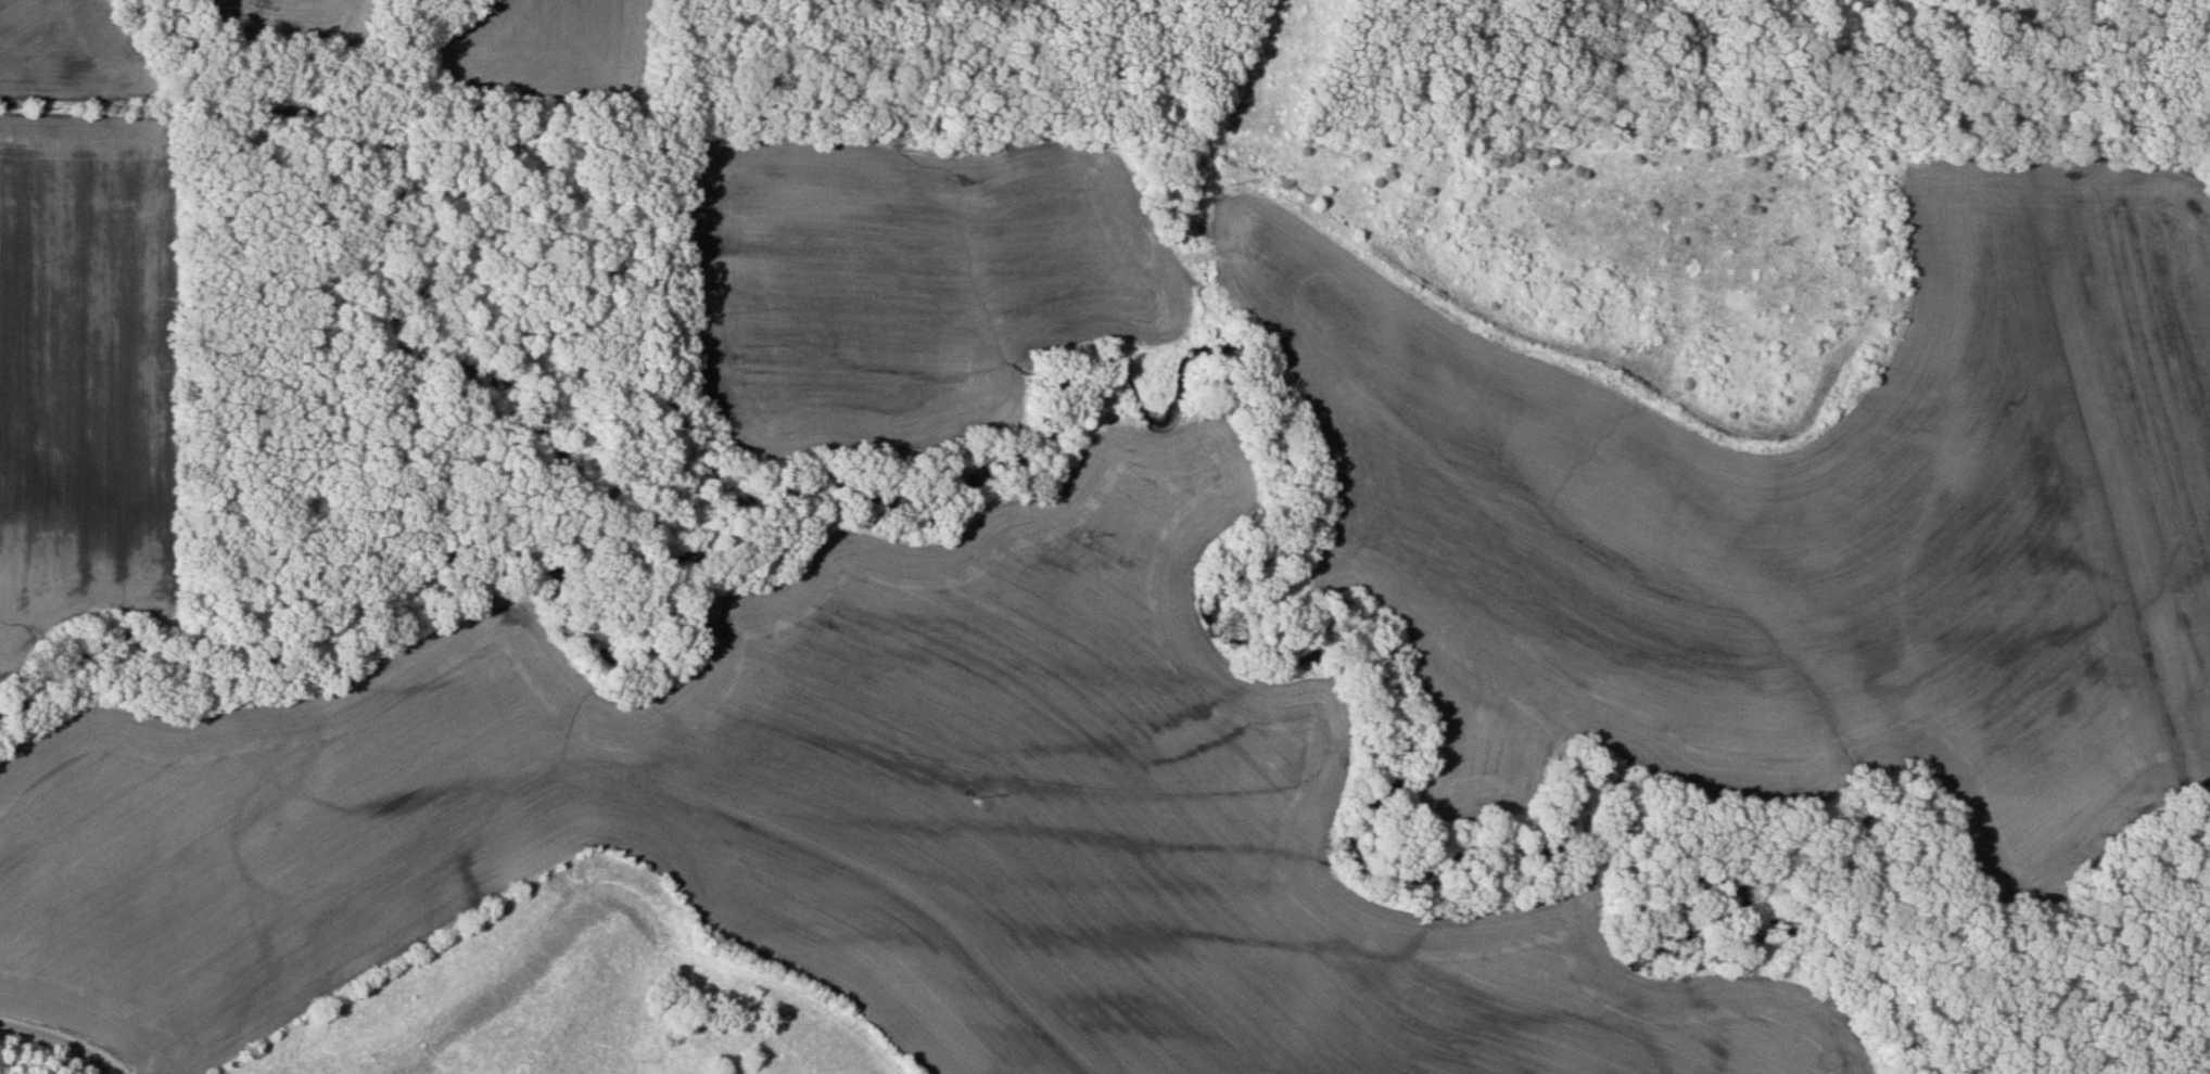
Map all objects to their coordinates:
road: (61, 1041)

